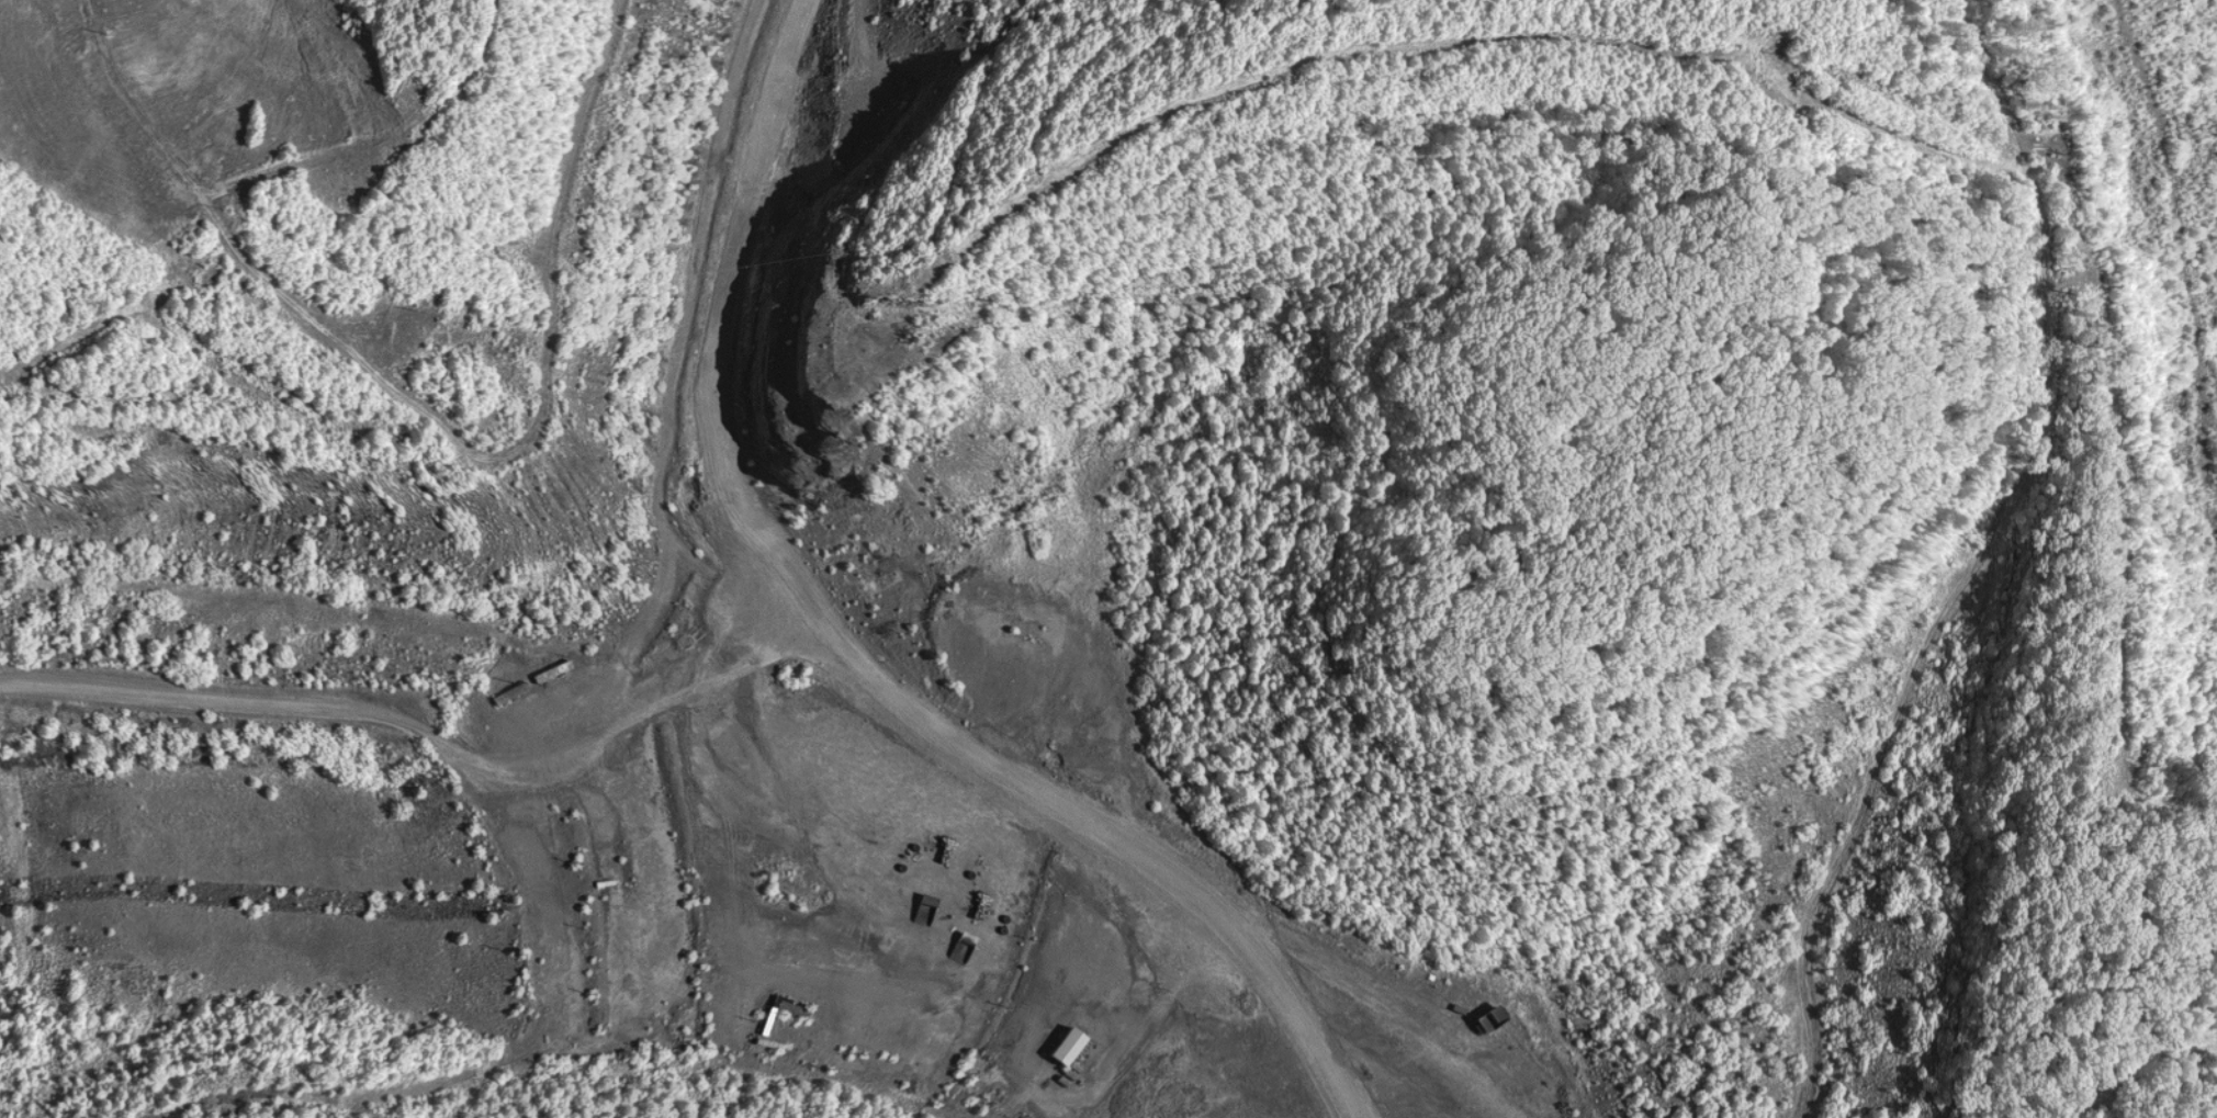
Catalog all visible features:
quarry: (1108, 558)
building: (507, 691)
building: (589, 904)
building: (607, 1024)
building: (1055, 1046)

